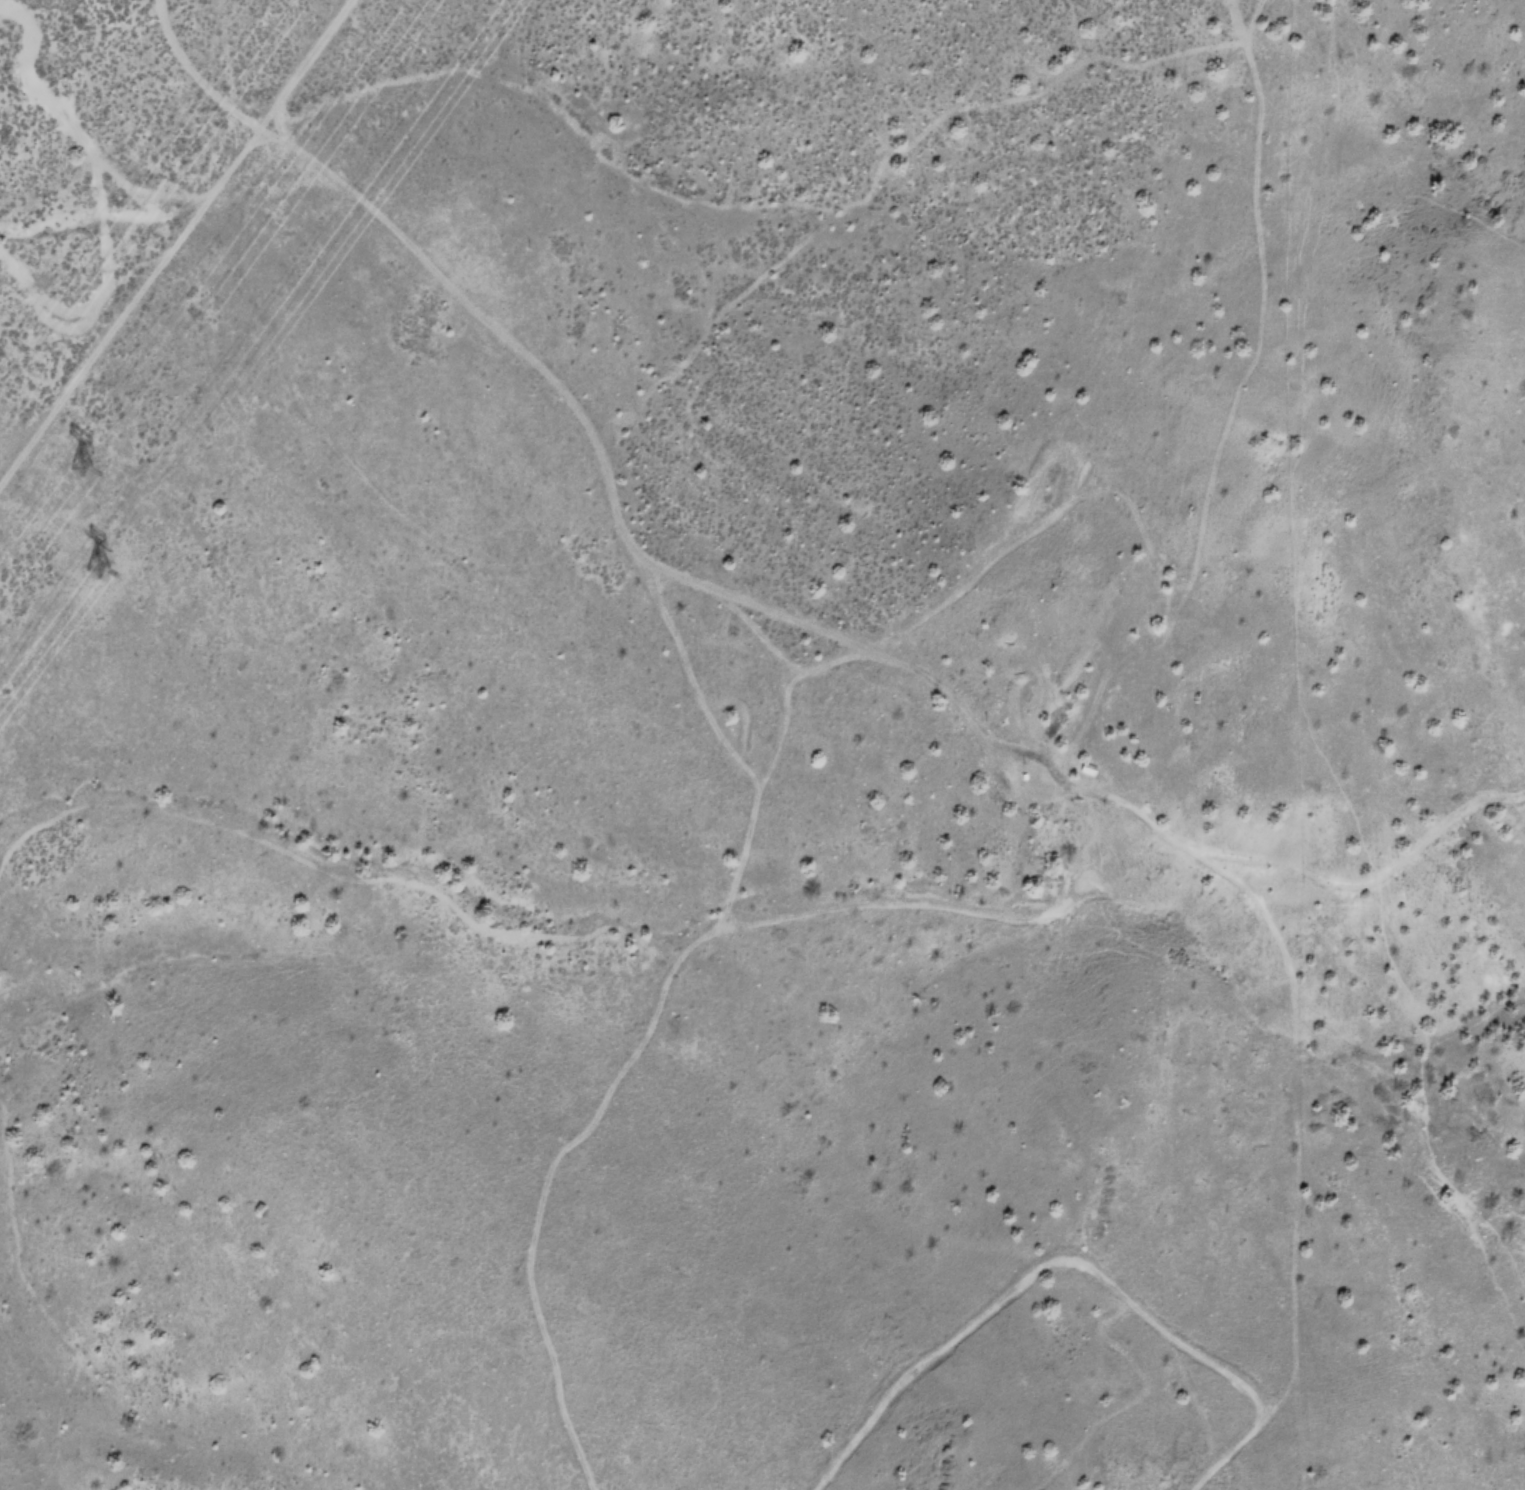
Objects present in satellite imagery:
power tower: (89, 456)
power tower: (104, 566)
building: (1053, 712)
building: (1085, 771)

